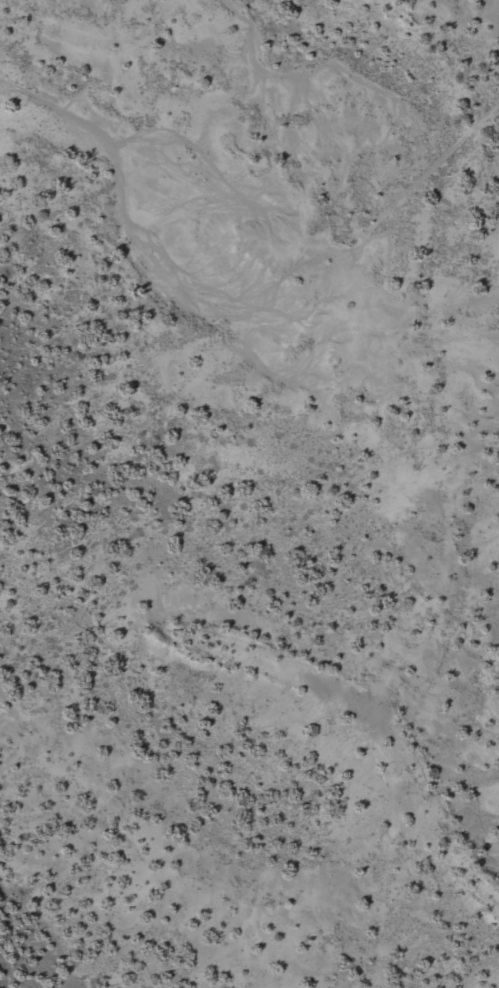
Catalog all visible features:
road: (270, 1)
road: (249, 2)

